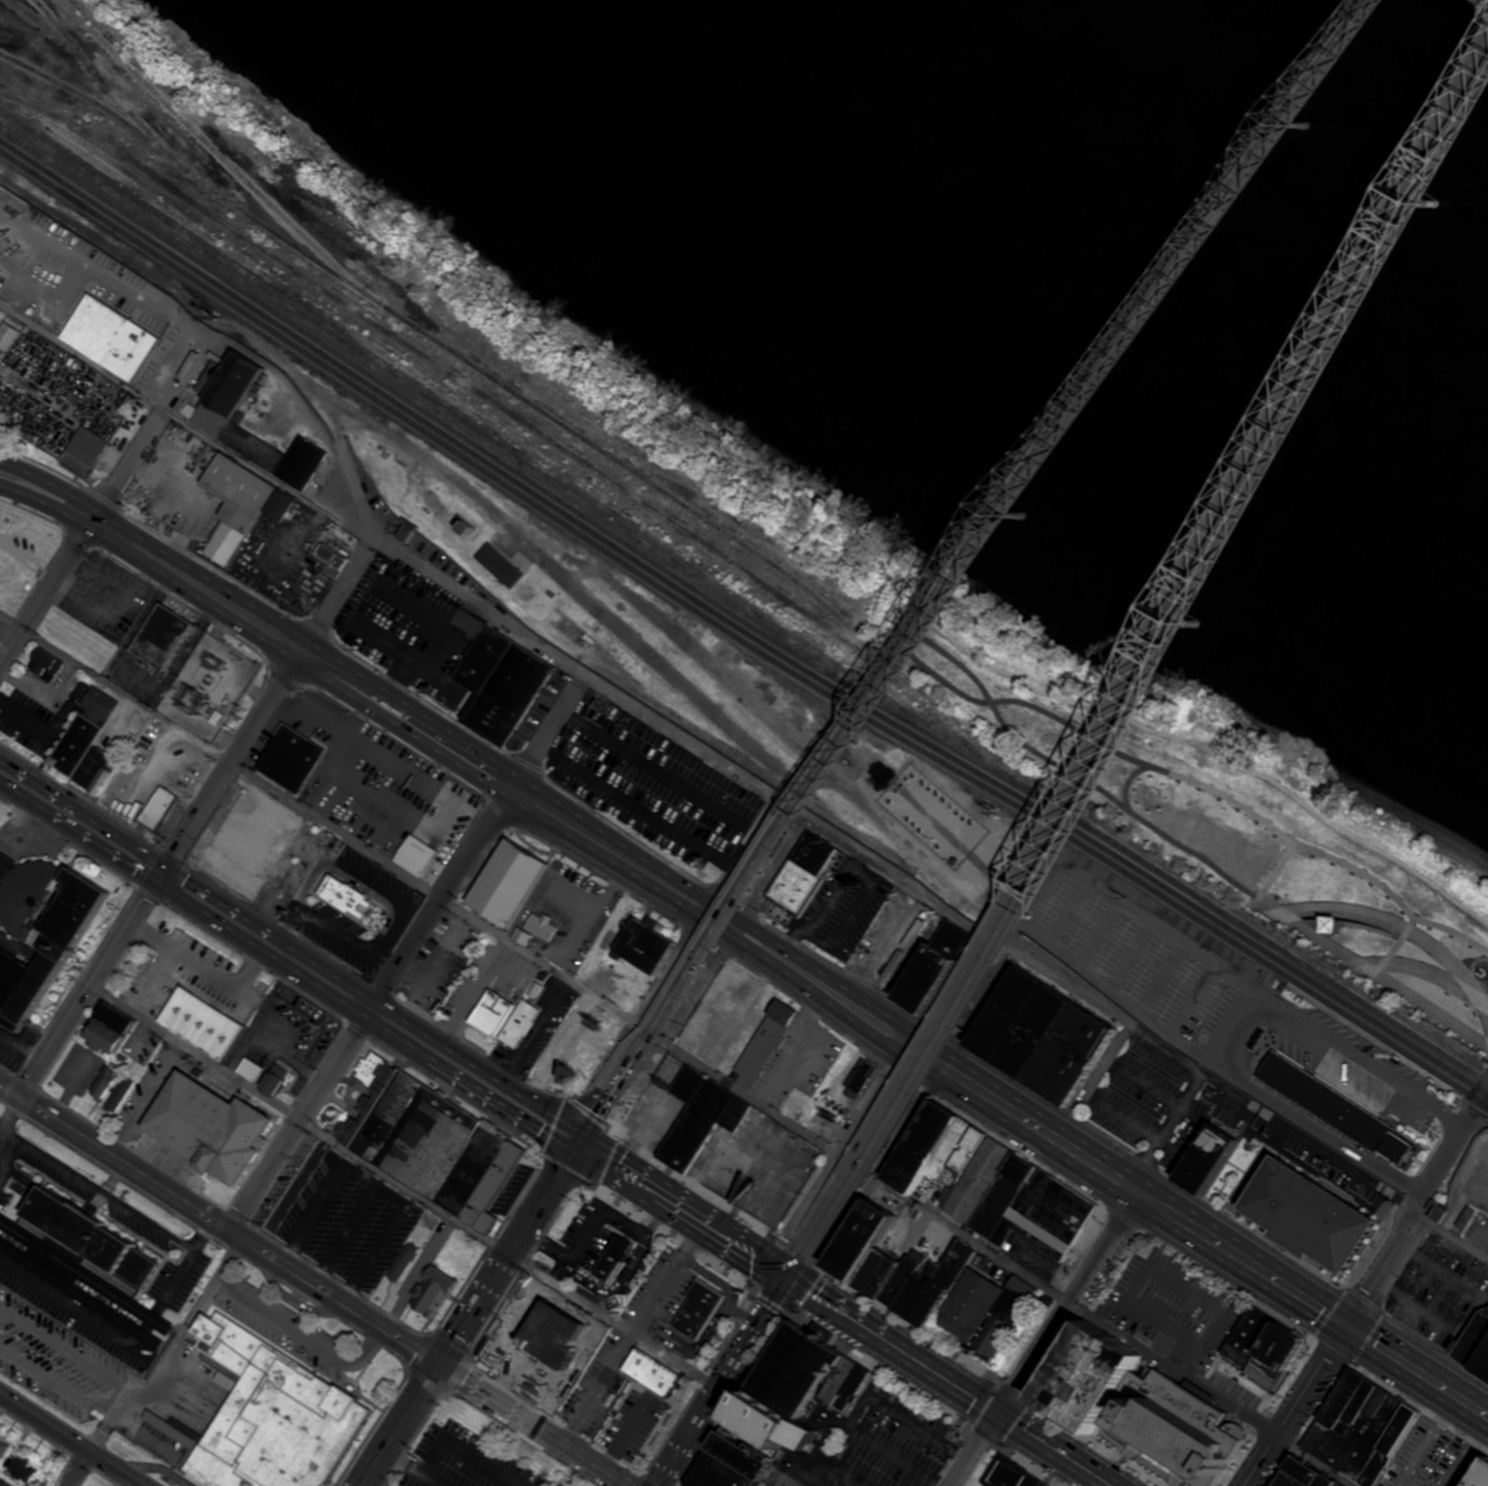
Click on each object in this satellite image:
railway: (21, 8)
road: (1369, 15)
railway: (57, 27)
railway: (100, 80)
road: (1479, 86)
railway: (98, 106)
railway: (203, 140)
river: (1148, 219)
building: (107, 338)
railway: (418, 398)
railway: (537, 406)
railway: (495, 417)
railway: (481, 419)
railway: (474, 422)
building: (82, 451)
road: (67, 489)
road: (103, 501)
building: (238, 505)
road: (61, 514)
road: (974, 555)
road: (213, 592)
road: (338, 593)
railway: (738, 615)
railway: (738, 625)
railway: (738, 636)
road: (911, 640)
road: (1142, 676)
building: (502, 681)
road: (603, 685)
building: (451, 697)
road: (408, 717)
road: (1071, 722)
road: (548, 728)
building: (72, 746)
road: (231, 760)
road: (1052, 762)
building: (294, 763)
road: (1235, 800)
building: (677, 801)
park: (1229, 803)
building: (157, 809)
road: (80, 821)
road: (1158, 830)
building: (260, 848)
road: (619, 853)
building: (413, 855)
road: (1278, 867)
railway: (1176, 871)
traffic signals: (160, 873)
building: (802, 874)
building: (503, 884)
road: (1392, 894)
road: (442, 896)
road: (1256, 896)
road: (1370, 926)
road: (1405, 928)
road: (264, 940)
road: (1397, 943)
building: (640, 945)
building: (43, 948)
road: (1373, 970)
road: (1428, 971)
road: (825, 975)
road: (86, 986)
road: (815, 991)
building: (488, 1014)
building: (198, 1022)
building: (518, 1024)
road: (1236, 1027)
building: (99, 1033)
railway: (1369, 1033)
road: (664, 1035)
building: (1039, 1035)
building: (762, 1044)
building: (248, 1069)
road: (472, 1074)
building: (268, 1082)
road: (749, 1095)
building: (1336, 1106)
road: (1470, 1116)
road: (592, 1117)
road: (296, 1120)
road: (1028, 1120)
road: (13, 1124)
building: (203, 1128)
building: (1204, 1138)
traffic signals: (577, 1140)
road: (1307, 1141)
building: (426, 1145)
road: (838, 1148)
road: (1437, 1166)
road: (872, 1175)
road: (1463, 1182)
road: (403, 1185)
road: (113, 1199)
building: (1025, 1201)
road: (683, 1206)
building: (1306, 1215)
building: (104, 1233)
road: (1449, 1234)
road: (972, 1238)
road: (1244, 1258)
road: (230, 1259)
road: (1387, 1259)
road: (796, 1260)
road: (181, 1267)
traffic signals: (789, 1275)
building: (73, 1277)
road: (314, 1287)
building: (911, 1290)
building: (975, 1305)
building: (699, 1310)
road: (466, 1312)
road: (288, 1319)
traffic signals: (1346, 1323)
road: (1046, 1339)
road: (368, 1346)
building: (1258, 1352)
building: (1481, 1357)
building: (564, 1360)
traffic signals: (435, 1361)
road: (1174, 1368)
road: (1417, 1368)
railway: (178, 1370)
building: (801, 1372)
road: (722, 1380)
road: (951, 1381)
railway: (140, 1394)
road: (1295, 1404)
traffic signals: (999, 1411)
building: (287, 1426)
building: (1361, 1428)
road: (70, 1440)
road: (443, 1442)
building: (1183, 1444)
building: (1, 1450)
parking lot: (473, 1459)
road: (1315, 1460)
road: (151, 1466)
road: (77, 1469)
building: (20, 1470)
building: (1474, 1473)
building: (1010, 1476)
road: (436, 1479)
building: (563, 1480)
road: (359, 1484)
road: (359, 1484)
building: (2, 1485)

